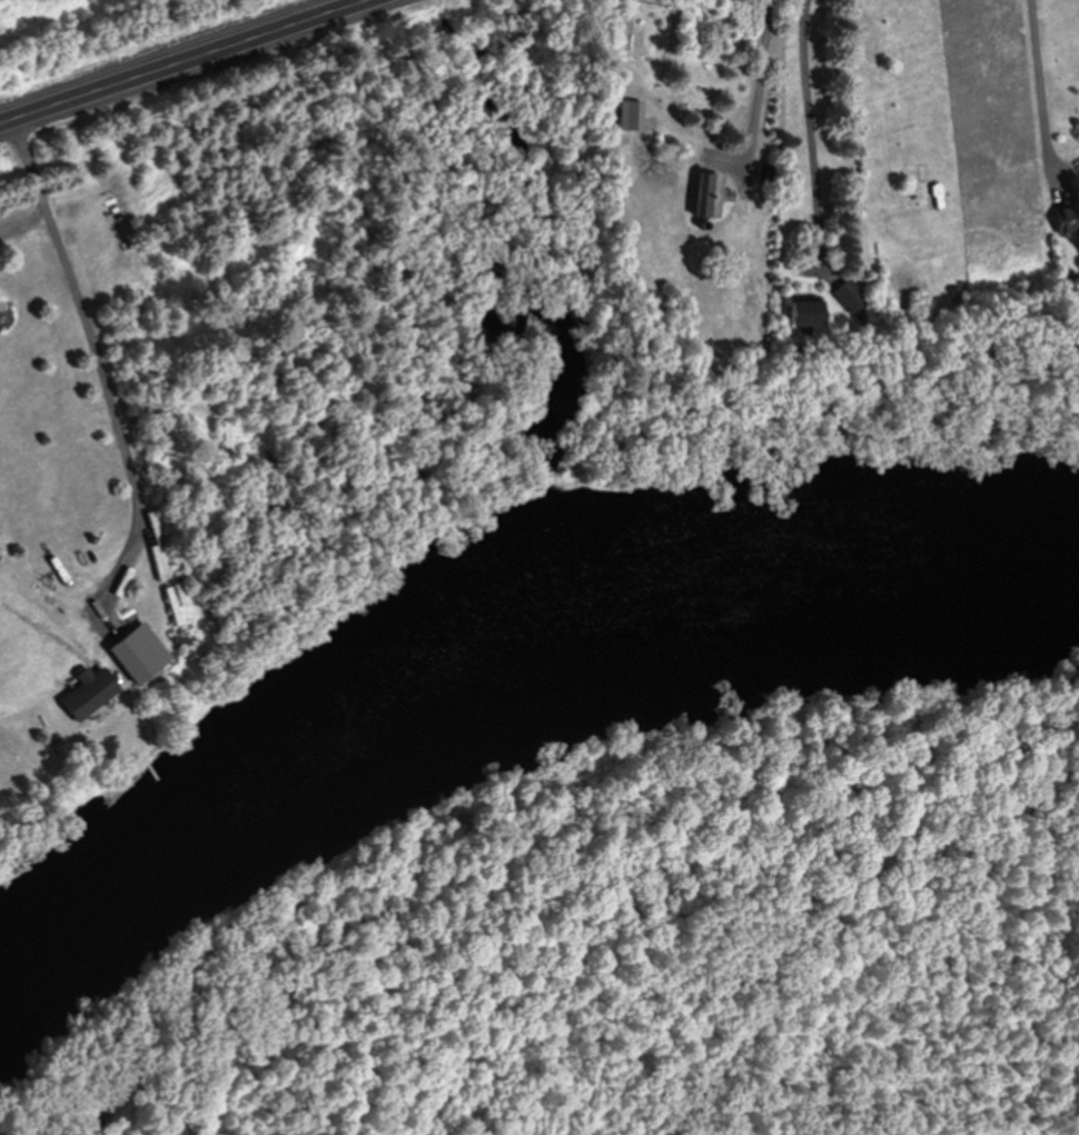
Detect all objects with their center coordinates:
road: (179, 60)
building: (633, 113)
building: (709, 193)
building: (1068, 218)
building: (852, 295)
building: (804, 312)
river: (478, 680)
building: (88, 691)

